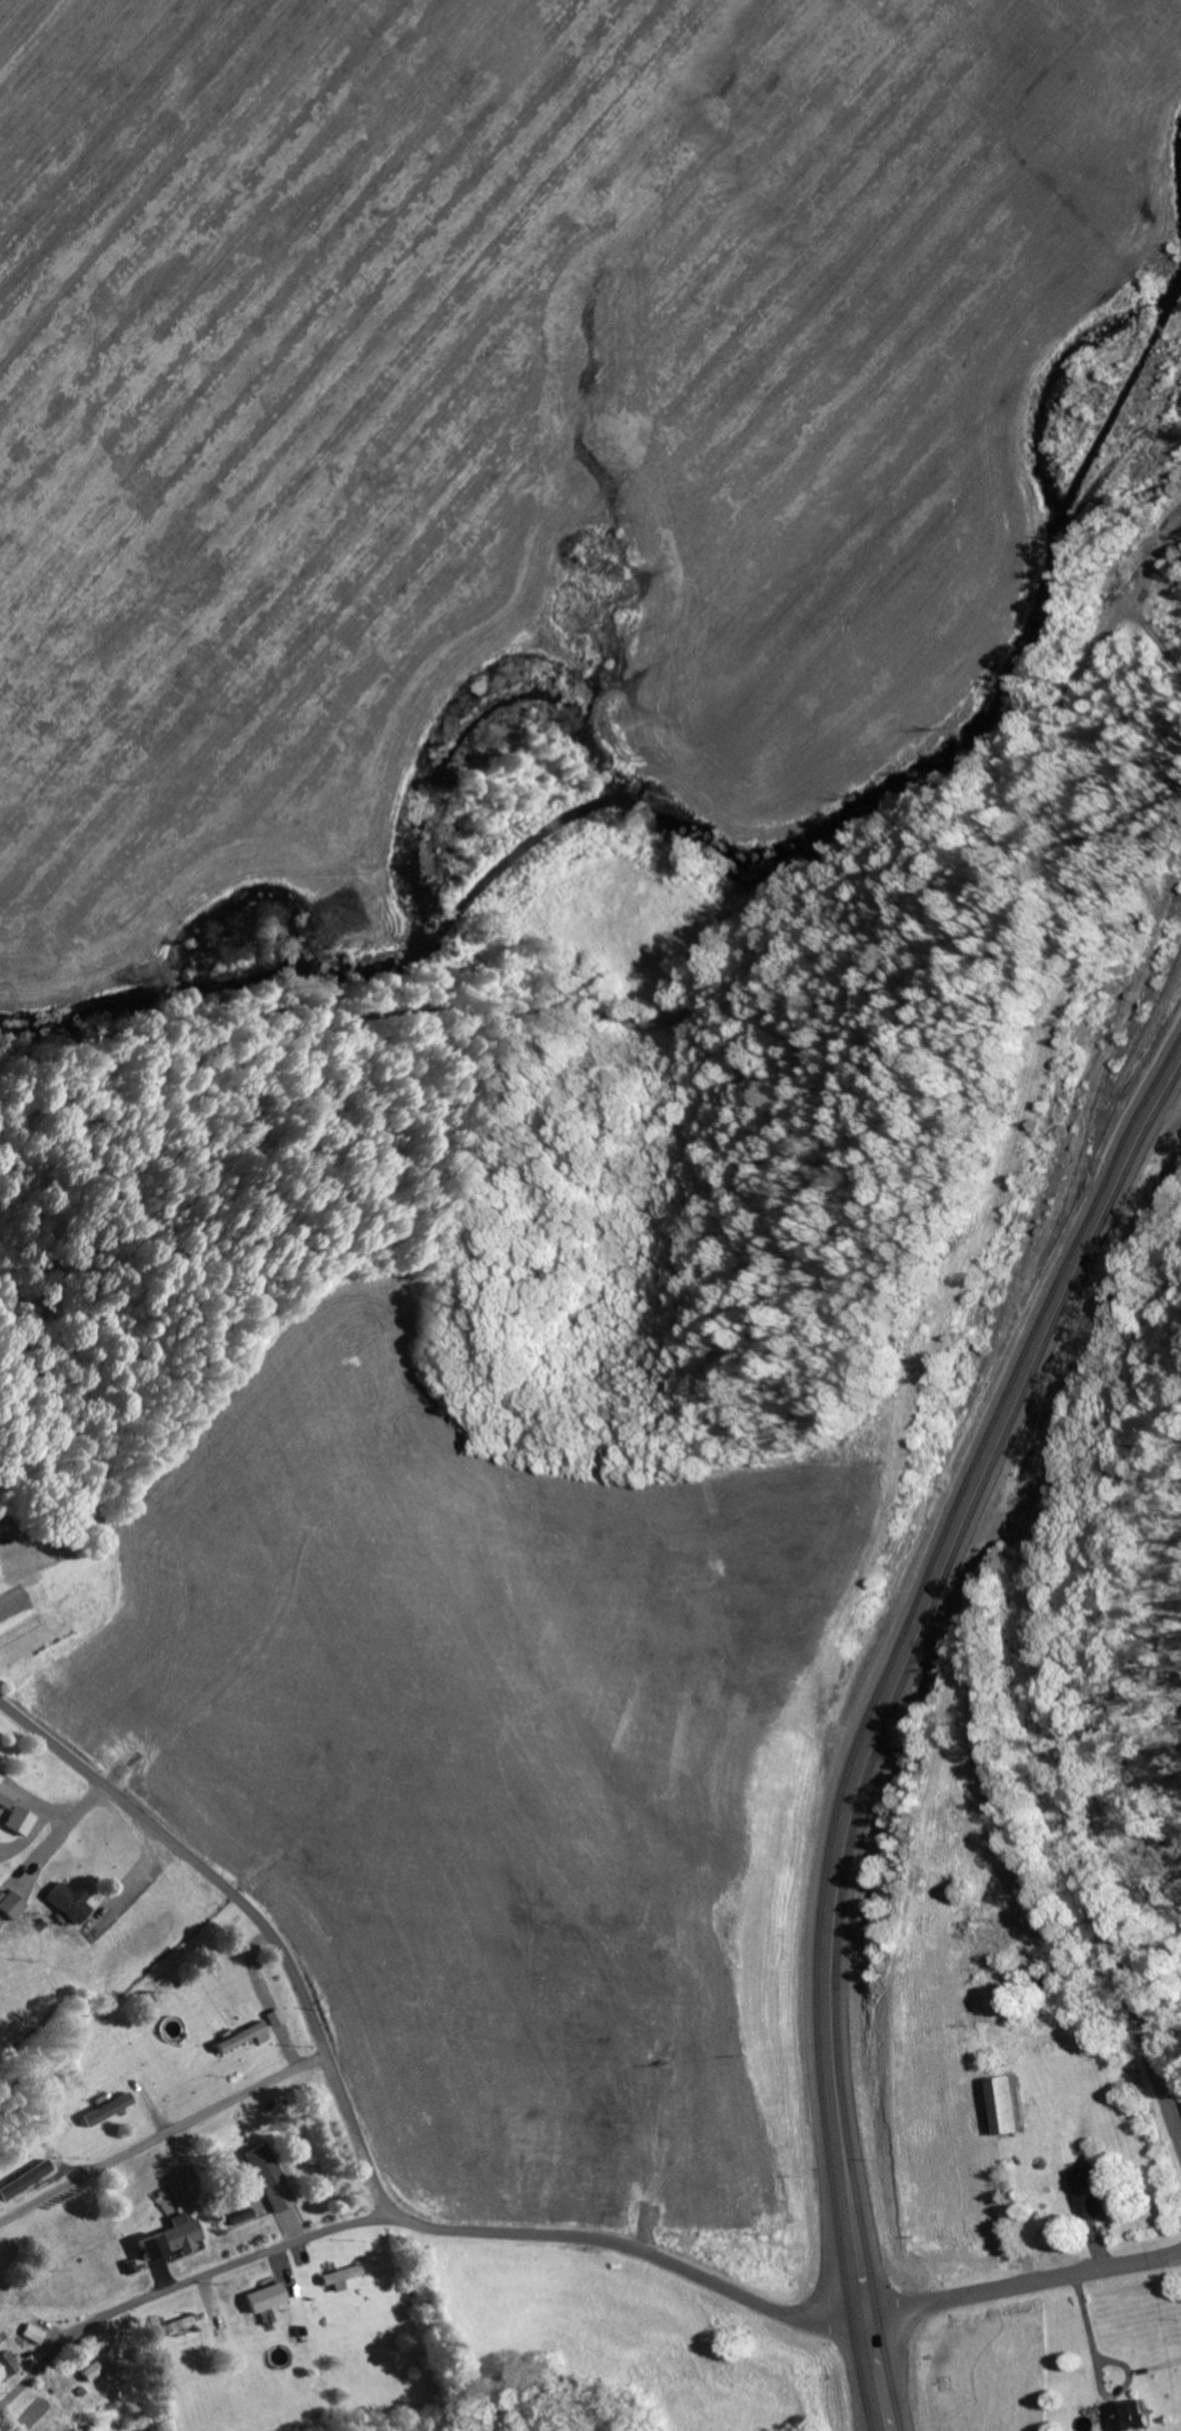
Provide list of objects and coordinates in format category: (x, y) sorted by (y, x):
road: (686, 1006)
road: (1004, 1436)
road: (871, 1700)
building: (0, 1779)
building: (6, 1801)
building: (18, 1821)
building: (67, 1902)
building: (10, 1905)
building: (151, 2000)
road: (1130, 2008)
building: (274, 2018)
building: (243, 2037)
building: (1005, 2106)
building: (107, 2110)
road: (1175, 2112)
road: (161, 2137)
building: (267, 2177)
building: (24, 2180)
building: (1088, 2192)
building: (255, 2199)
road: (464, 2230)
building: (168, 2238)
building: (338, 2277)
road: (187, 2283)
building: (263, 2298)
building: (170, 2327)
building: (29, 2333)
building: (98, 2364)
building: (1125, 2417)
building: (7, 2430)

